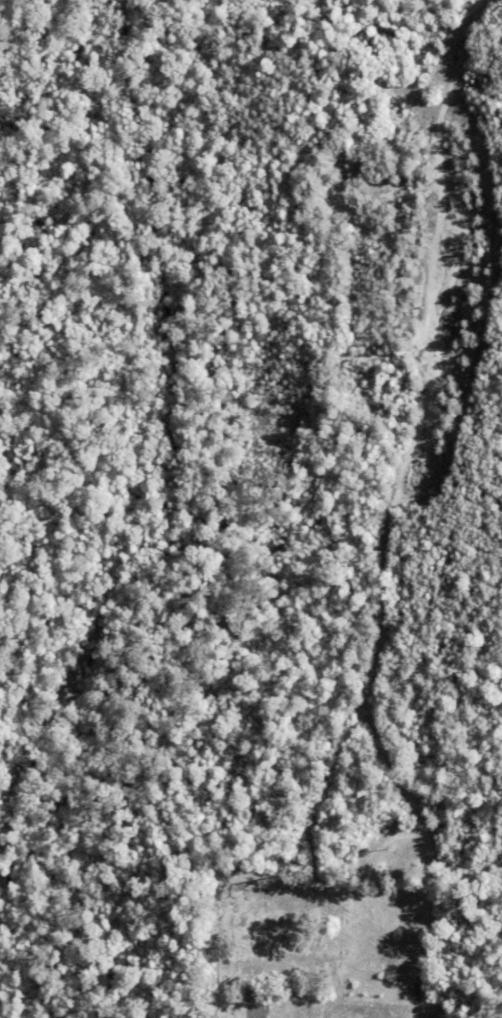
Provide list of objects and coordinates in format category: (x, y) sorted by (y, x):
building: (278, 949)
road: (414, 1013)

